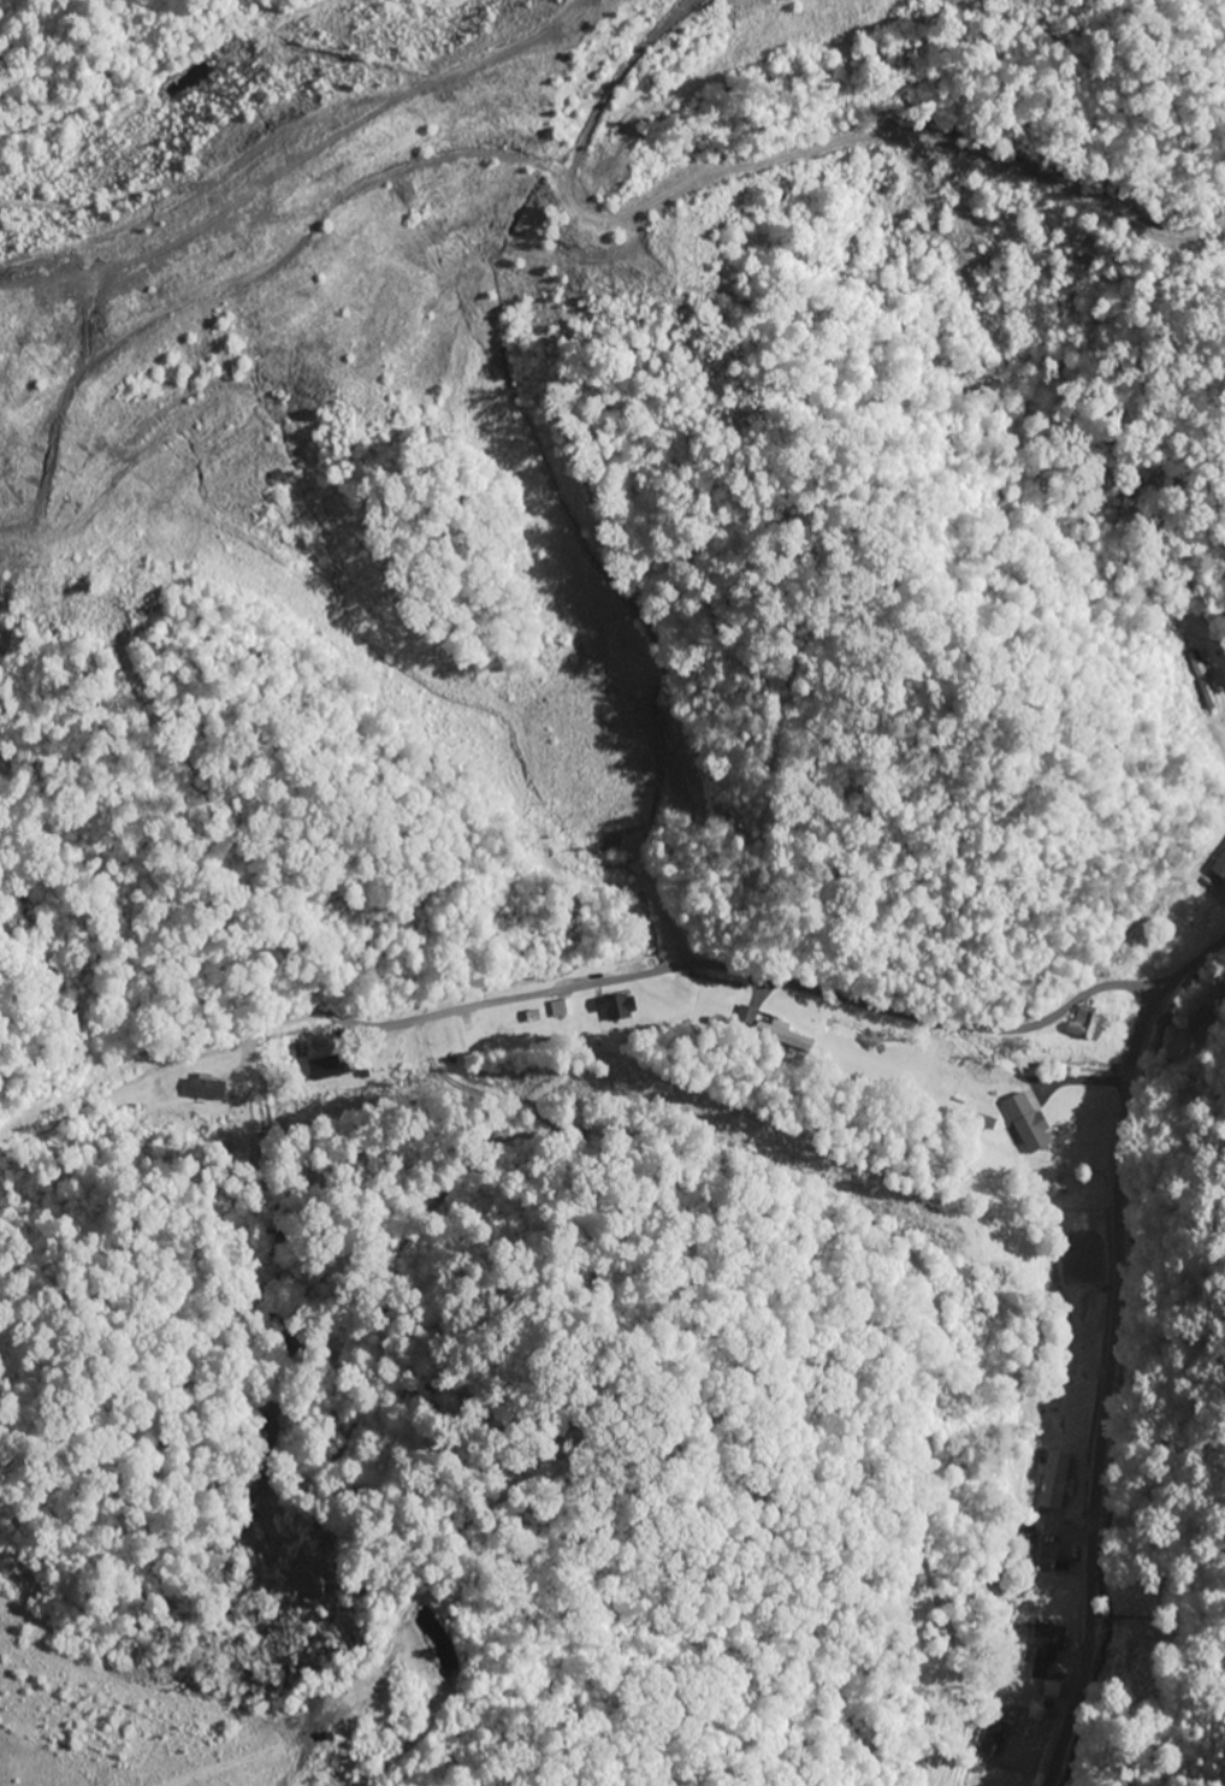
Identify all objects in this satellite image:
building: (615, 1007)
building: (560, 1010)
building: (1085, 1023)
building: (1199, 1023)
building: (324, 1068)
building: (206, 1092)
building: (1026, 1123)
road: (718, 1142)
road: (1113, 1347)
building: (990, 1741)

